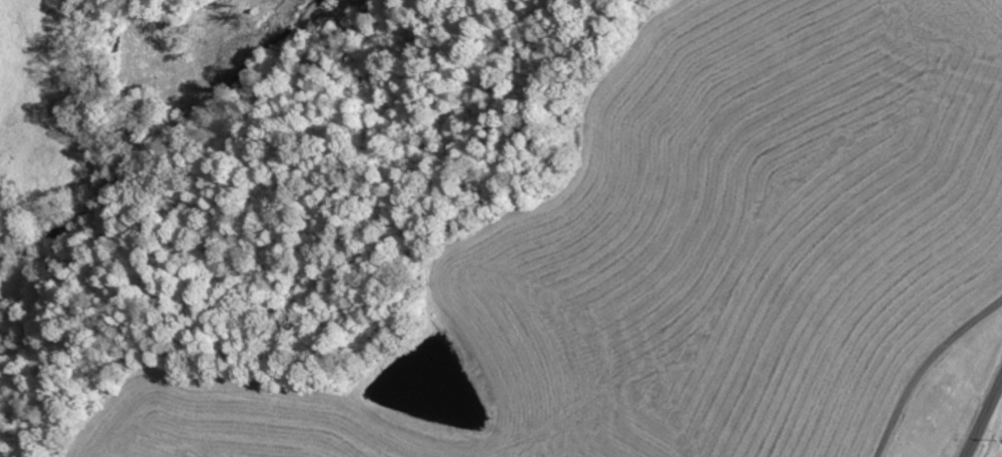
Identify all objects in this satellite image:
road: (926, 369)
road: (984, 419)

